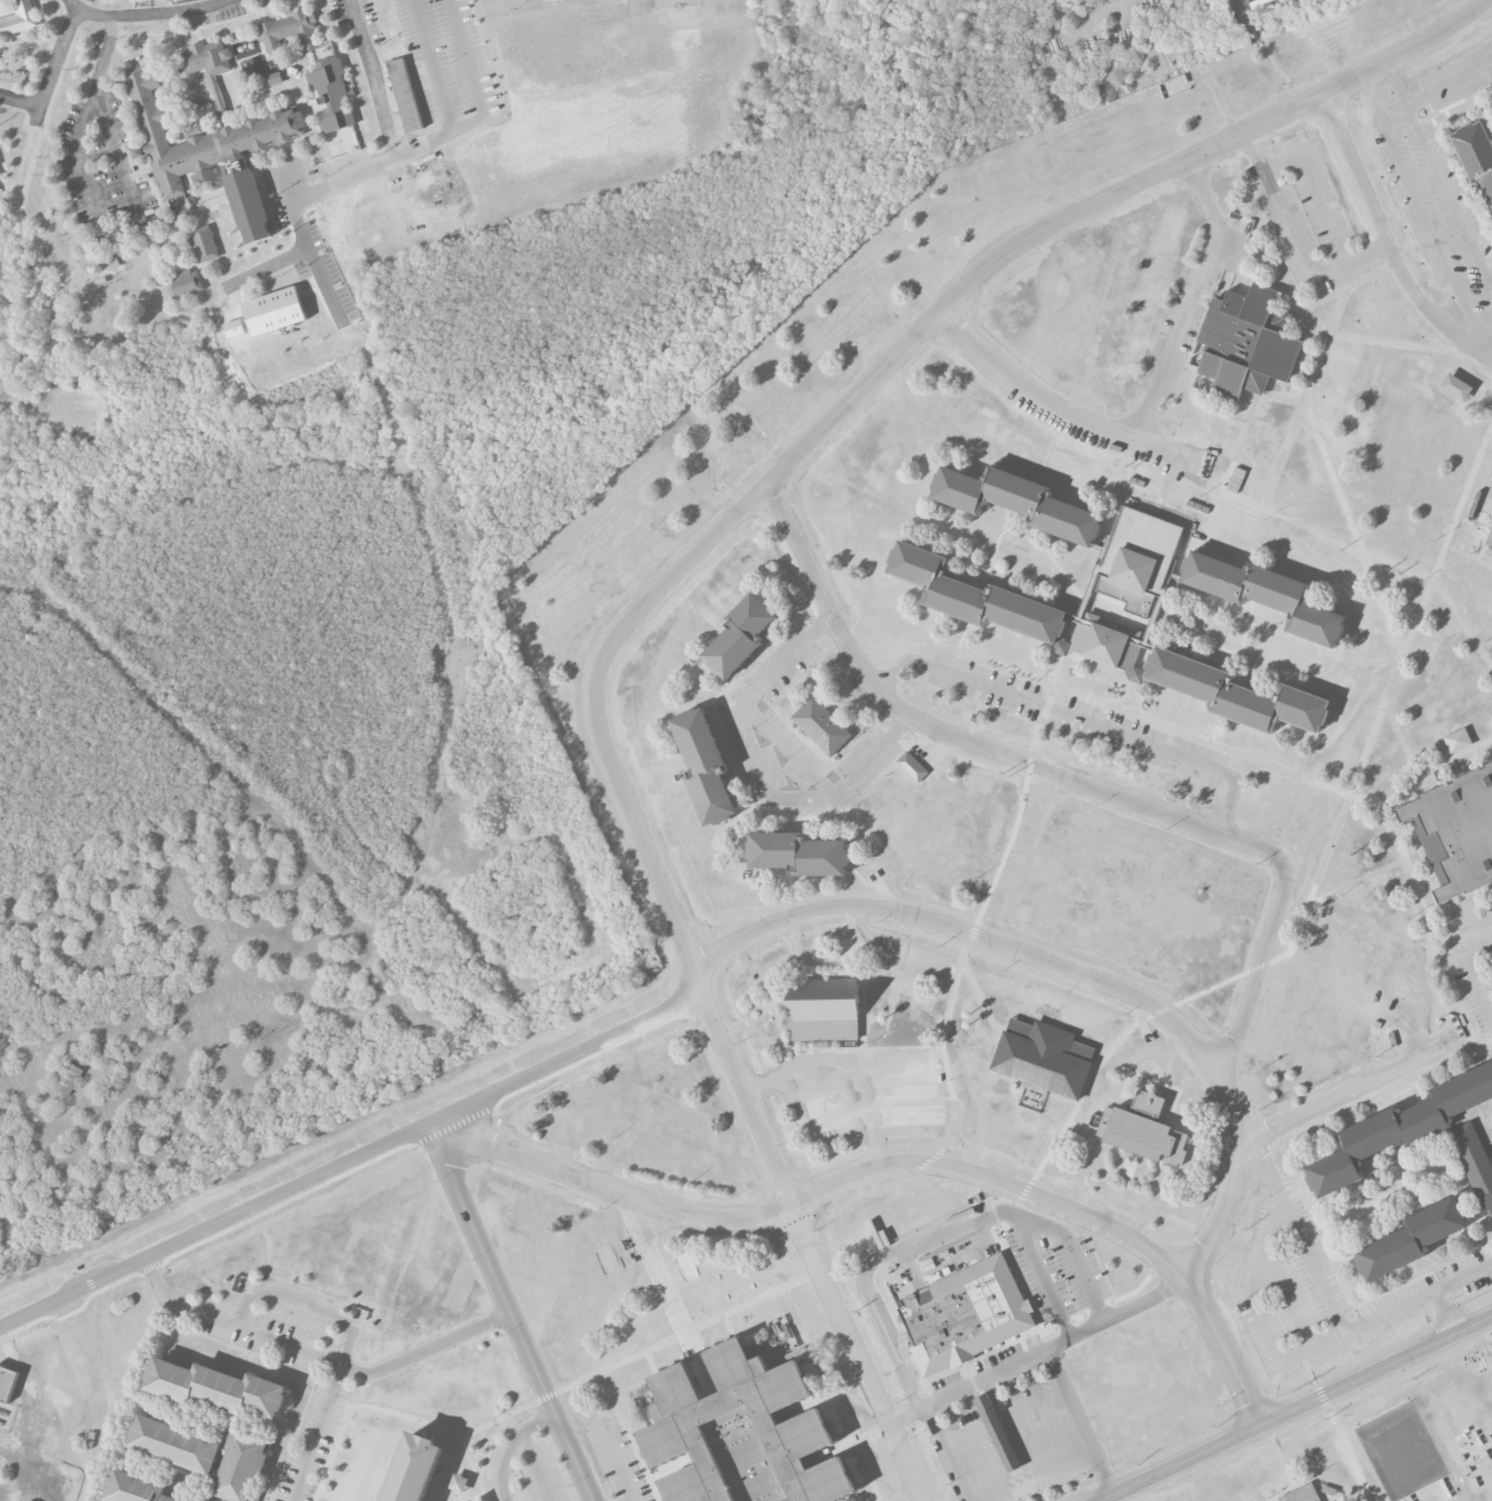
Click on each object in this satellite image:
road: (680, 1)
road: (147, 13)
building: (19, 19)
building: (290, 32)
road: (55, 66)
road: (431, 66)
building: (210, 68)
building: (275, 78)
road: (1444, 89)
building: (332, 94)
building: (405, 95)
road: (21, 100)
road: (479, 103)
road: (1397, 113)
road: (1389, 135)
building: (210, 153)
building: (1476, 155)
road: (369, 170)
road: (1318, 194)
building: (182, 214)
road: (94, 218)
road: (1391, 239)
building: (203, 244)
road: (1298, 244)
building: (112, 263)
road: (275, 265)
building: (184, 283)
road: (1193, 300)
building: (234, 329)
road: (1341, 335)
road: (1480, 341)
building: (1247, 343)
building: (1456, 387)
road: (1287, 400)
road: (1048, 406)
road: (1212, 412)
road: (1322, 451)
road: (783, 468)
building: (1018, 502)
building: (1490, 539)
road: (1341, 542)
building: (1138, 559)
building: (1265, 594)
building: (741, 636)
building: (1105, 646)
road: (1385, 698)
road: (1080, 717)
building: (976, 718)
building: (822, 726)
building: (1458, 741)
road: (965, 743)
road: (791, 751)
road: (1239, 755)
building: (705, 766)
building: (912, 767)
road: (1418, 774)
road: (760, 776)
road: (1404, 793)
building: (1460, 830)
building: (799, 854)
road: (1262, 965)
road: (1473, 975)
building: (383, 976)
road: (1075, 976)
road: (1212, 988)
building: (824, 1009)
road: (1118, 1040)
building: (1044, 1058)
building: (69, 1078)
road: (1363, 1088)
road: (862, 1116)
building: (1399, 1129)
building: (1143, 1131)
road: (875, 1142)
road: (353, 1160)
building: (1474, 1161)
road: (887, 1169)
building: (1411, 1239)
road: (1073, 1249)
road: (651, 1256)
road: (885, 1259)
road: (1039, 1273)
road: (1462, 1280)
road: (1329, 1298)
road: (1255, 1314)
building: (964, 1315)
road: (512, 1318)
building: (783, 1334)
road: (347, 1349)
road: (1038, 1351)
road: (861, 1356)
road: (319, 1357)
building: (7, 1383)
road: (1293, 1407)
road: (1083, 1419)
building: (156, 1427)
building: (997, 1433)
building: (740, 1436)
road: (512, 1448)
park: (1401, 1452)
road: (951, 1453)
road: (619, 1461)
road: (538, 1467)
building: (414, 1469)
building: (459, 1483)
building: (136, 1488)
building: (1302, 1494)
road: (632, 1499)

